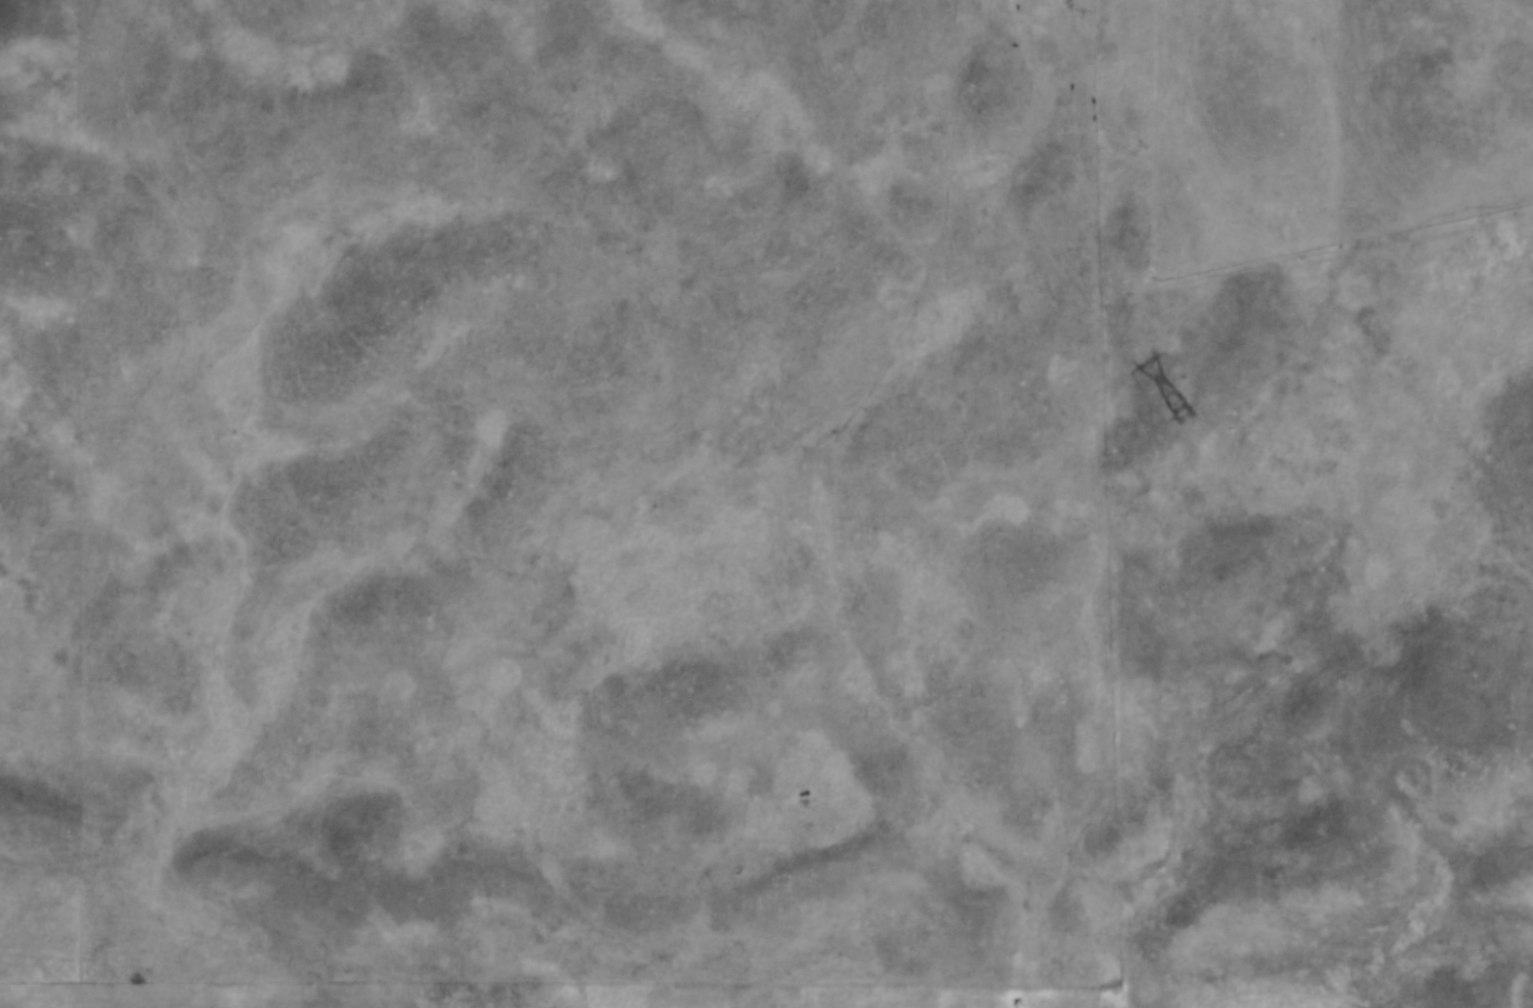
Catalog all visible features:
power tower: (1182, 417)

